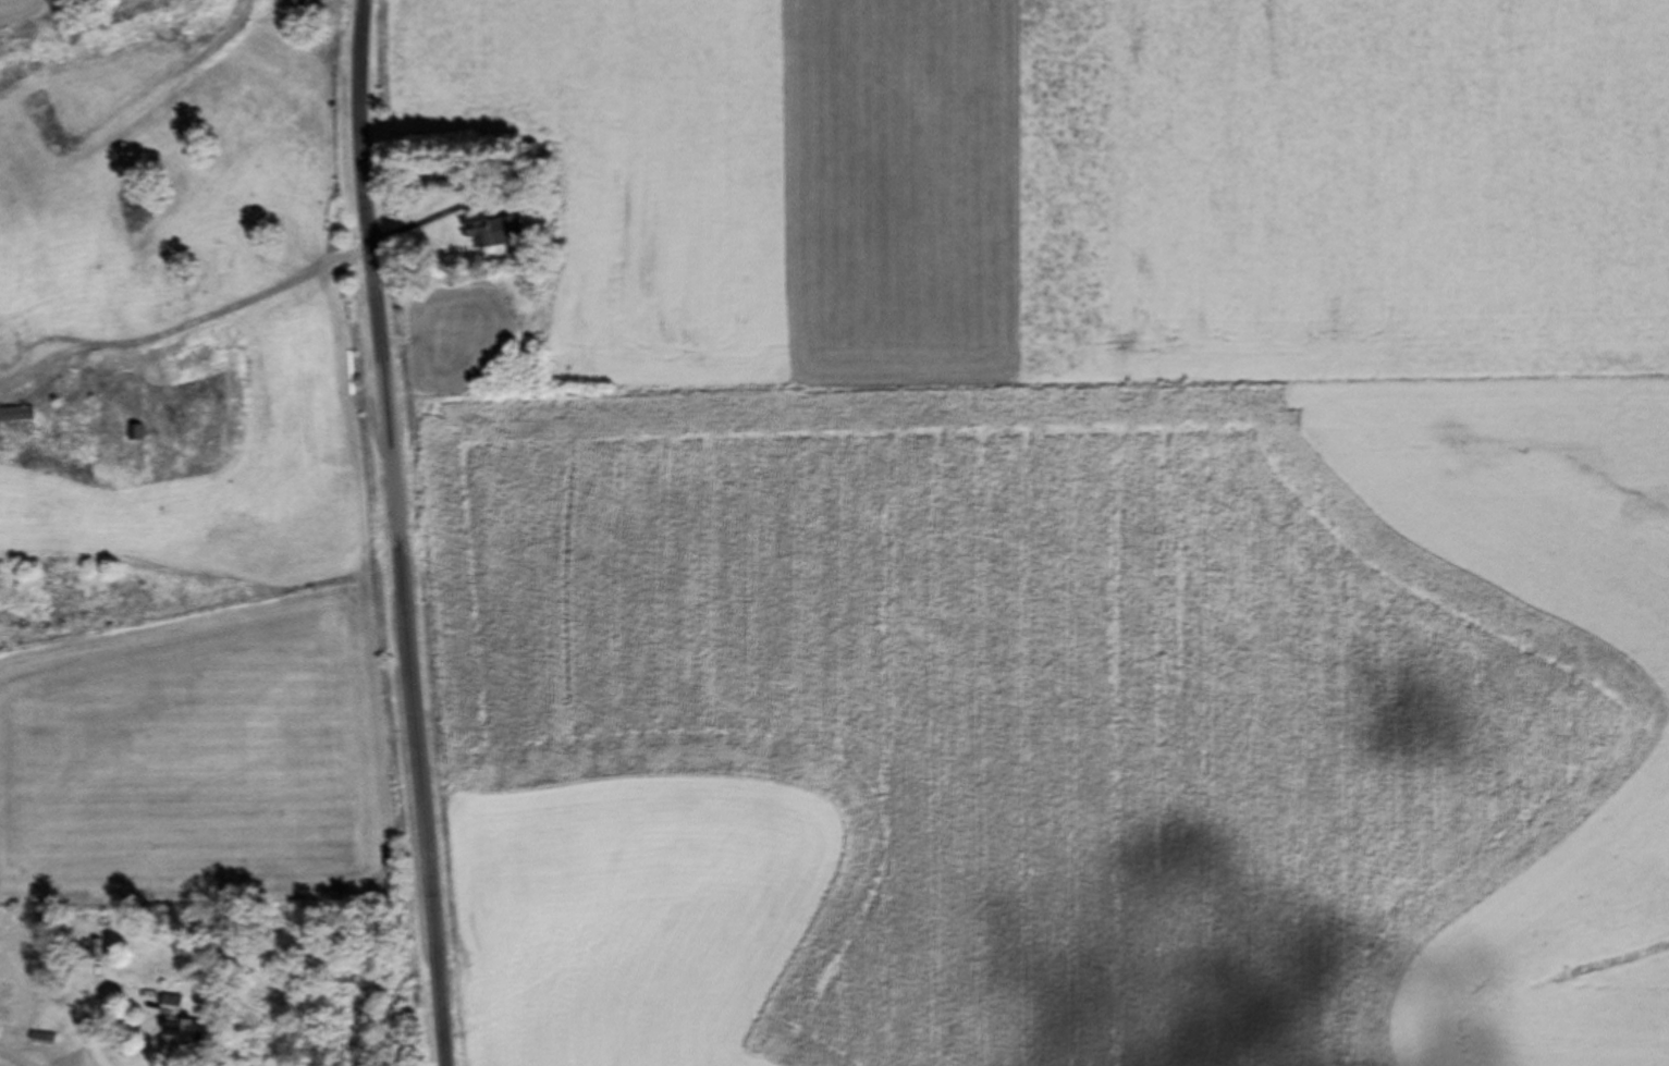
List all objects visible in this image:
building: (495, 232)
building: (15, 415)
building: (133, 433)
road: (390, 532)
building: (177, 1025)

